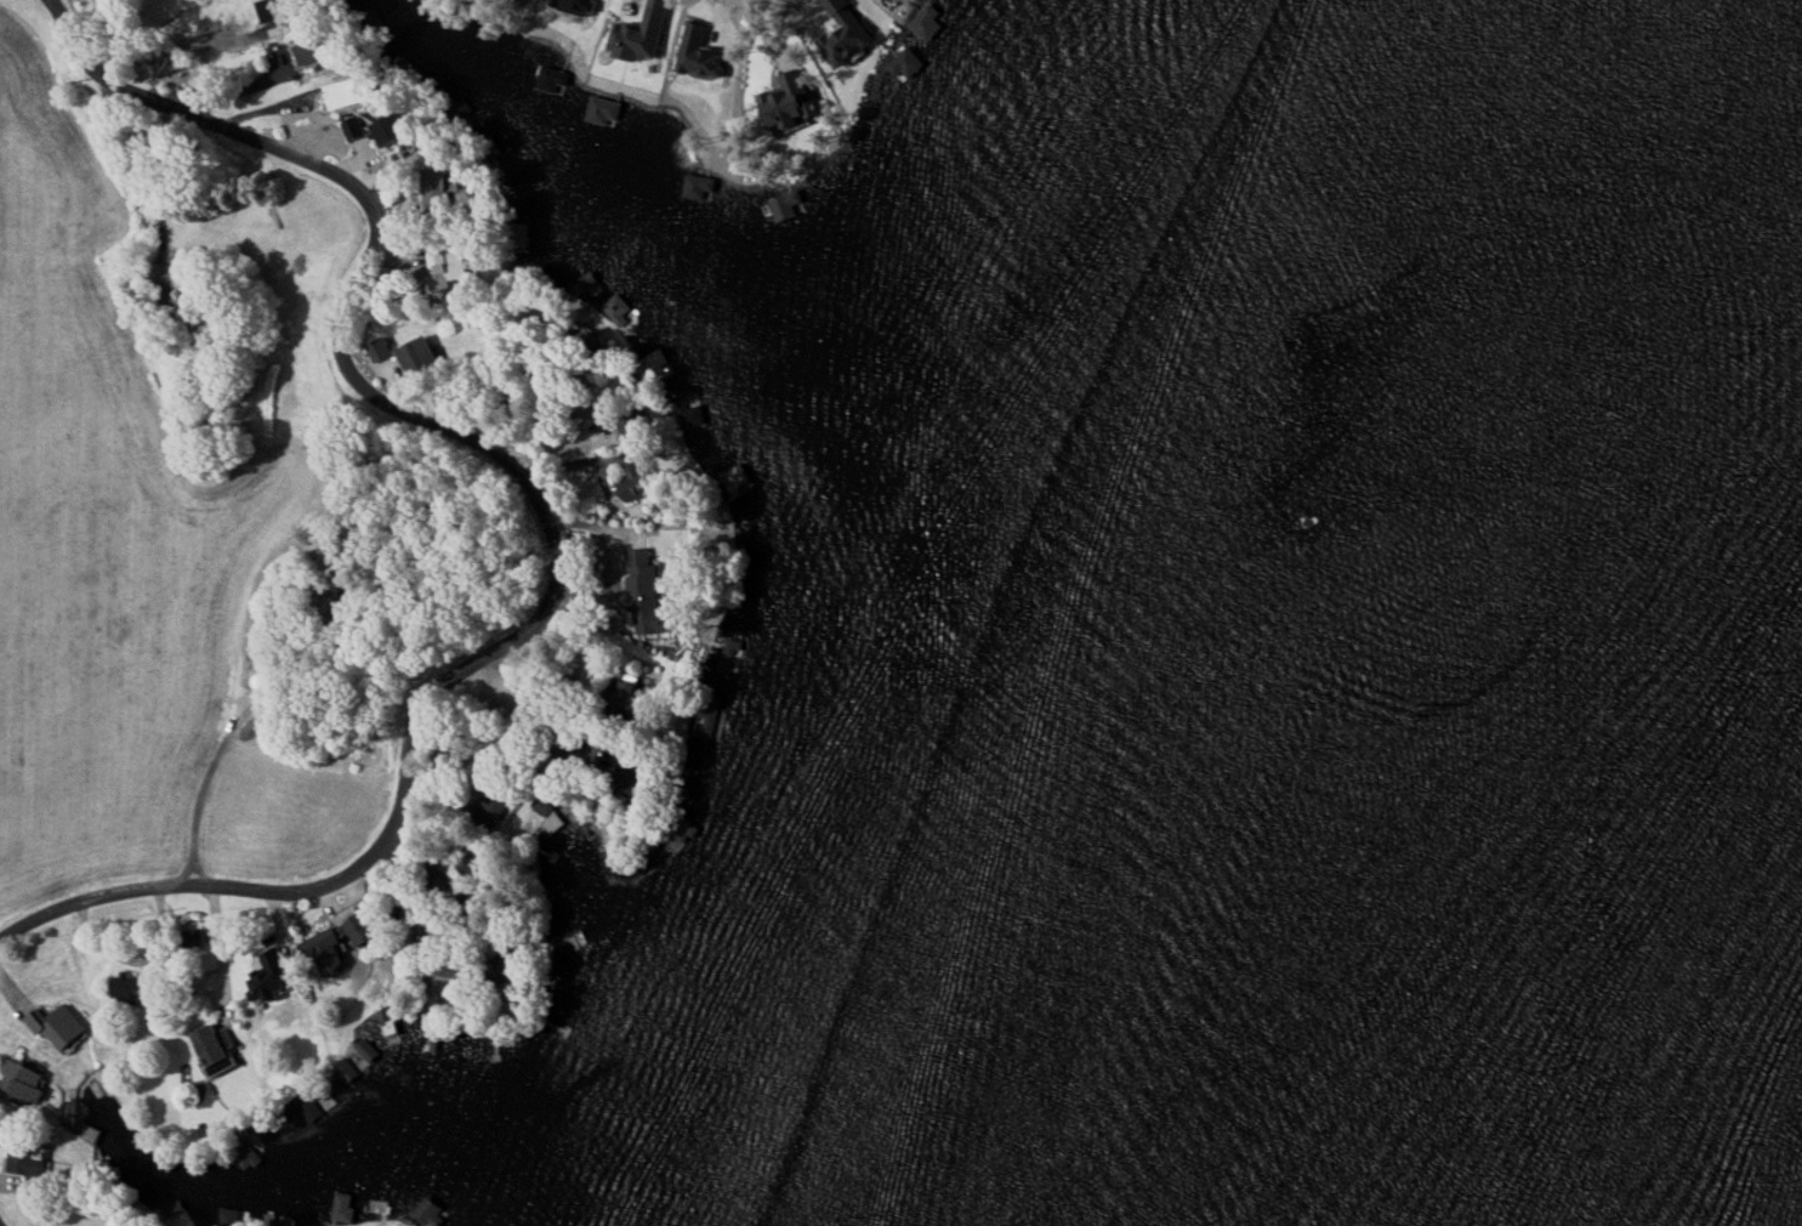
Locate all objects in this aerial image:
building: (575, 6)
road: (721, 16)
building: (927, 23)
building: (639, 32)
building: (309, 51)
building: (700, 53)
building: (906, 63)
building: (553, 80)
building: (343, 93)
building: (788, 103)
building: (356, 123)
building: (388, 130)
building: (698, 187)
building: (444, 193)
building: (786, 205)
building: (445, 268)
building: (192, 310)
building: (377, 348)
building: (416, 354)
building: (629, 424)
building: (635, 481)
road: (539, 511)
building: (644, 592)
river: (1722, 751)
building: (684, 828)
building: (362, 927)
building: (320, 947)
building: (206, 948)
building: (269, 976)
building: (449, 980)
building: (135, 986)
building: (387, 1018)
building: (57, 1026)
building: (214, 1048)
building: (19, 1083)
building: (248, 1157)
building: (25, 1158)
building: (343, 1207)
building: (430, 1210)

